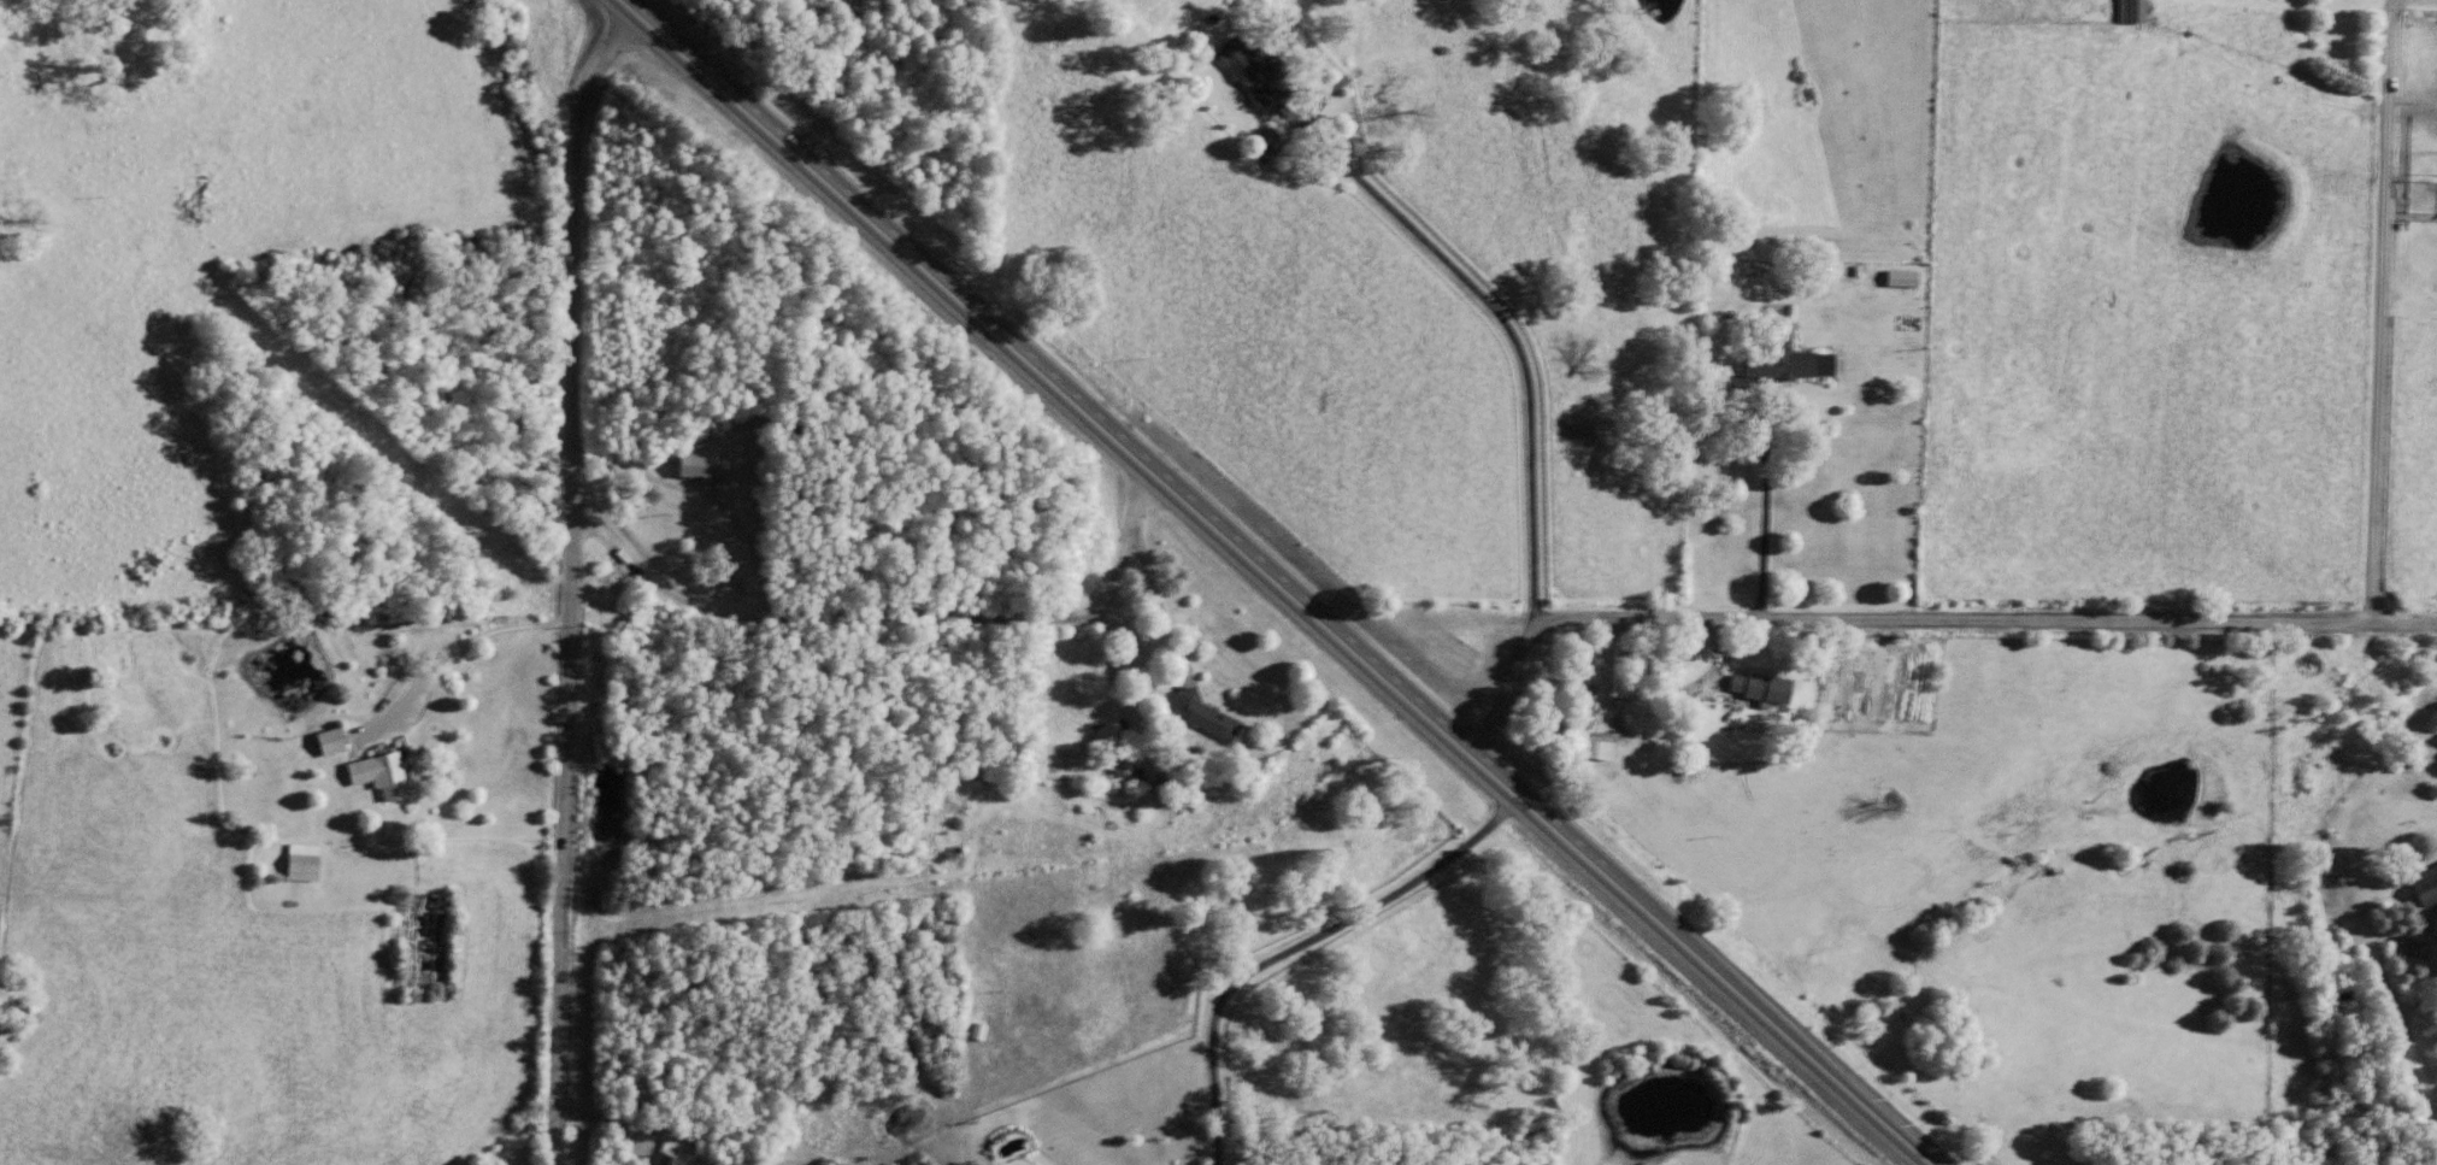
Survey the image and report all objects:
building: (2130, 13)
building: (1253, 78)
road: (2377, 306)
road: (1384, 336)
building: (1791, 366)
building: (702, 470)
road: (567, 577)
road: (1282, 582)
road: (887, 611)
road: (1777, 616)
road: (1505, 687)
building: (1760, 692)
building: (1205, 719)
building: (330, 746)
building: (1597, 754)
building: (1118, 764)
building: (381, 778)
building: (302, 867)
building: (665, 1161)

